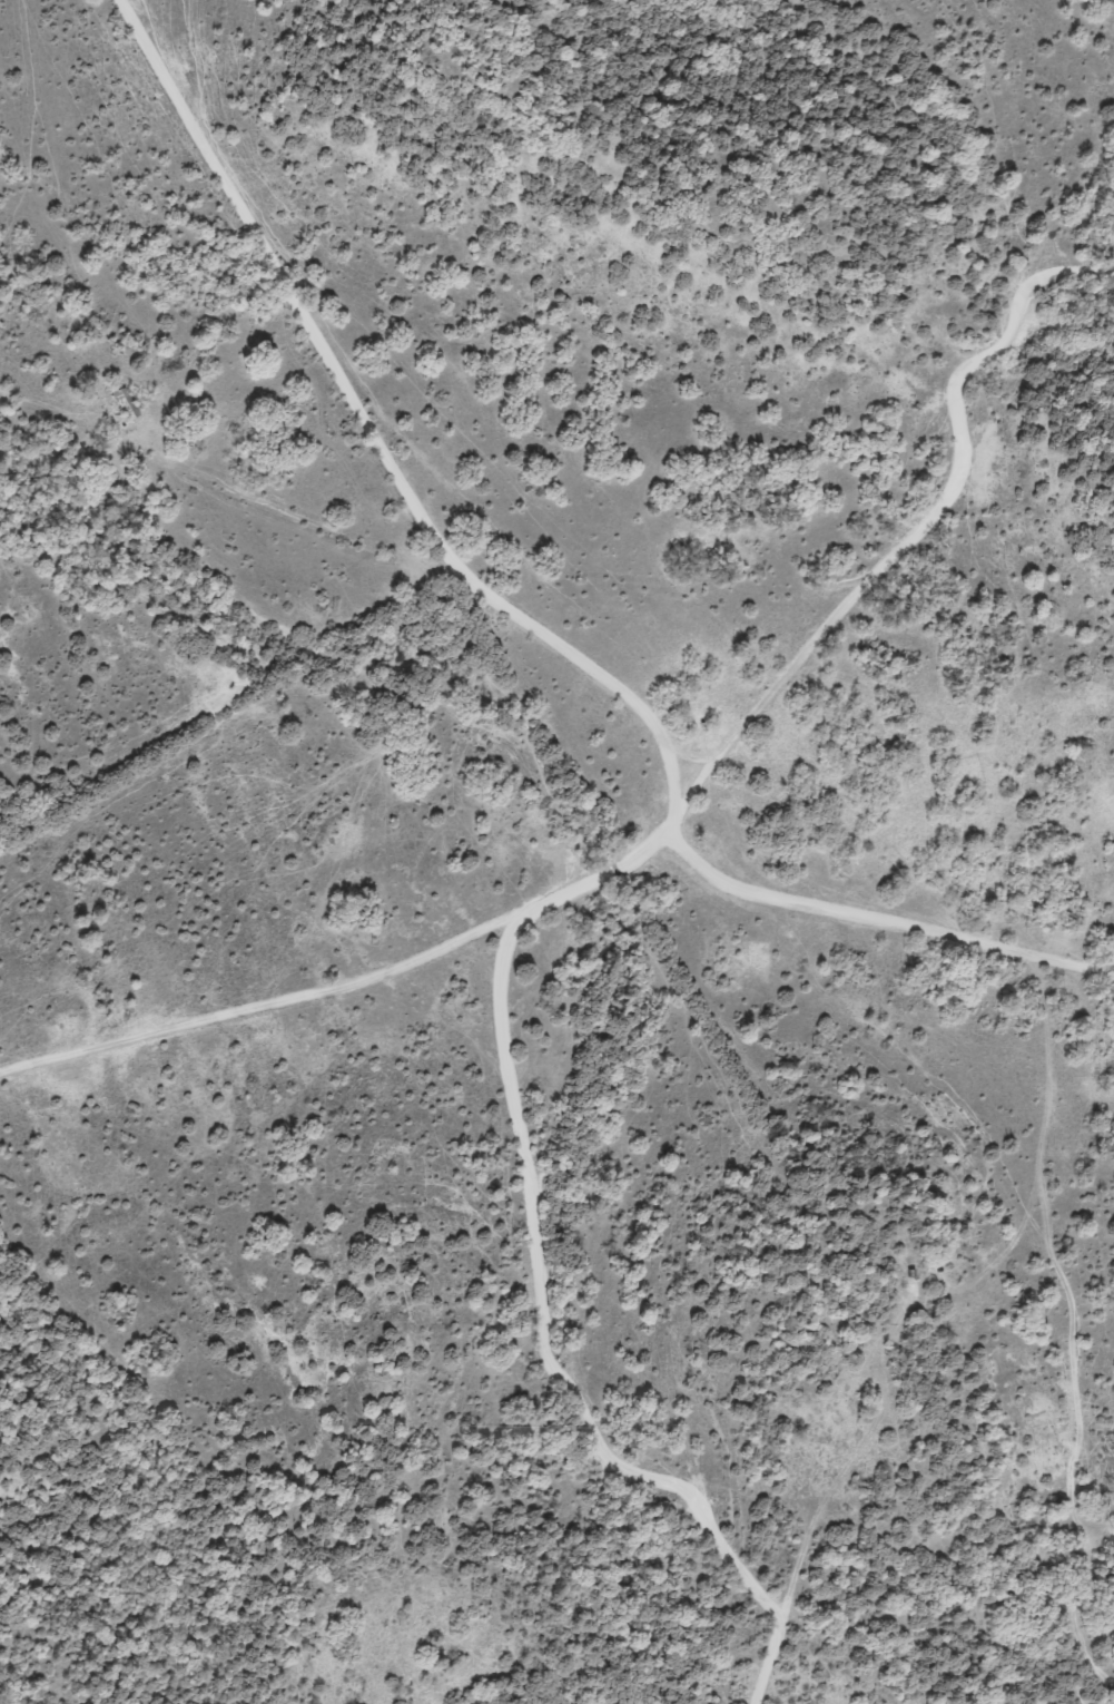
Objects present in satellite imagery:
road: (332, 525)
road: (539, 625)
road: (677, 797)
road: (536, 1312)

